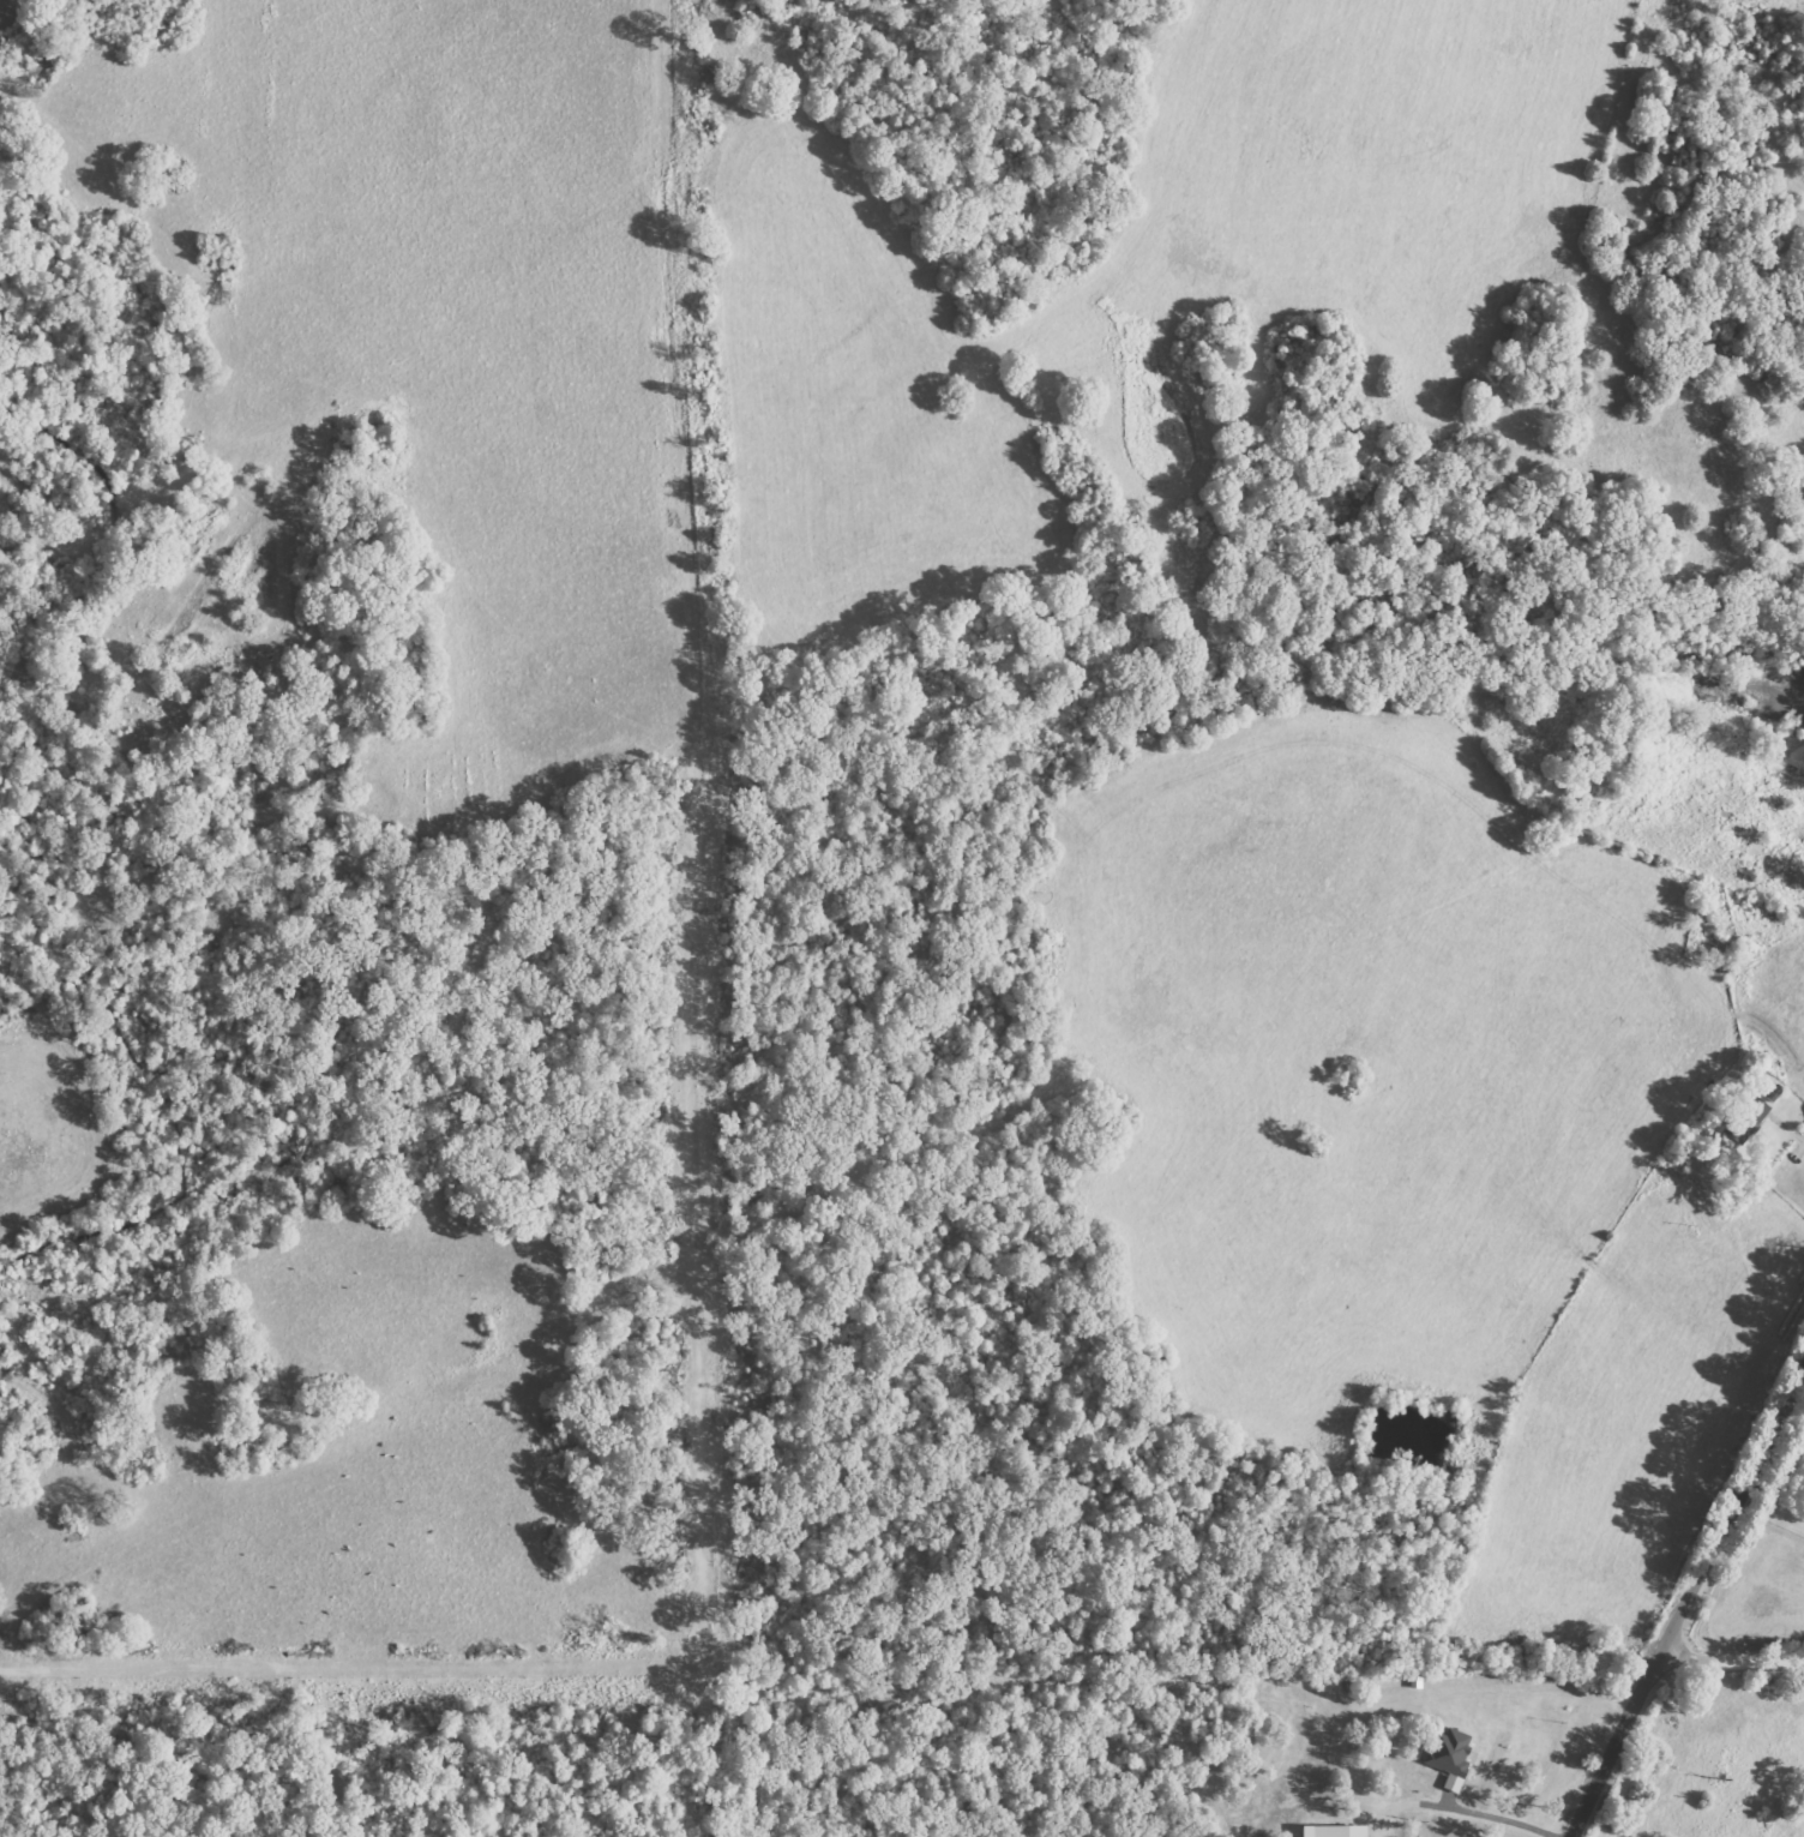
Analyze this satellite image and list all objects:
building: (1773, 1093)
building: (1749, 1116)
road: (1688, 1607)
road: (1732, 1662)
building: (1448, 1757)

